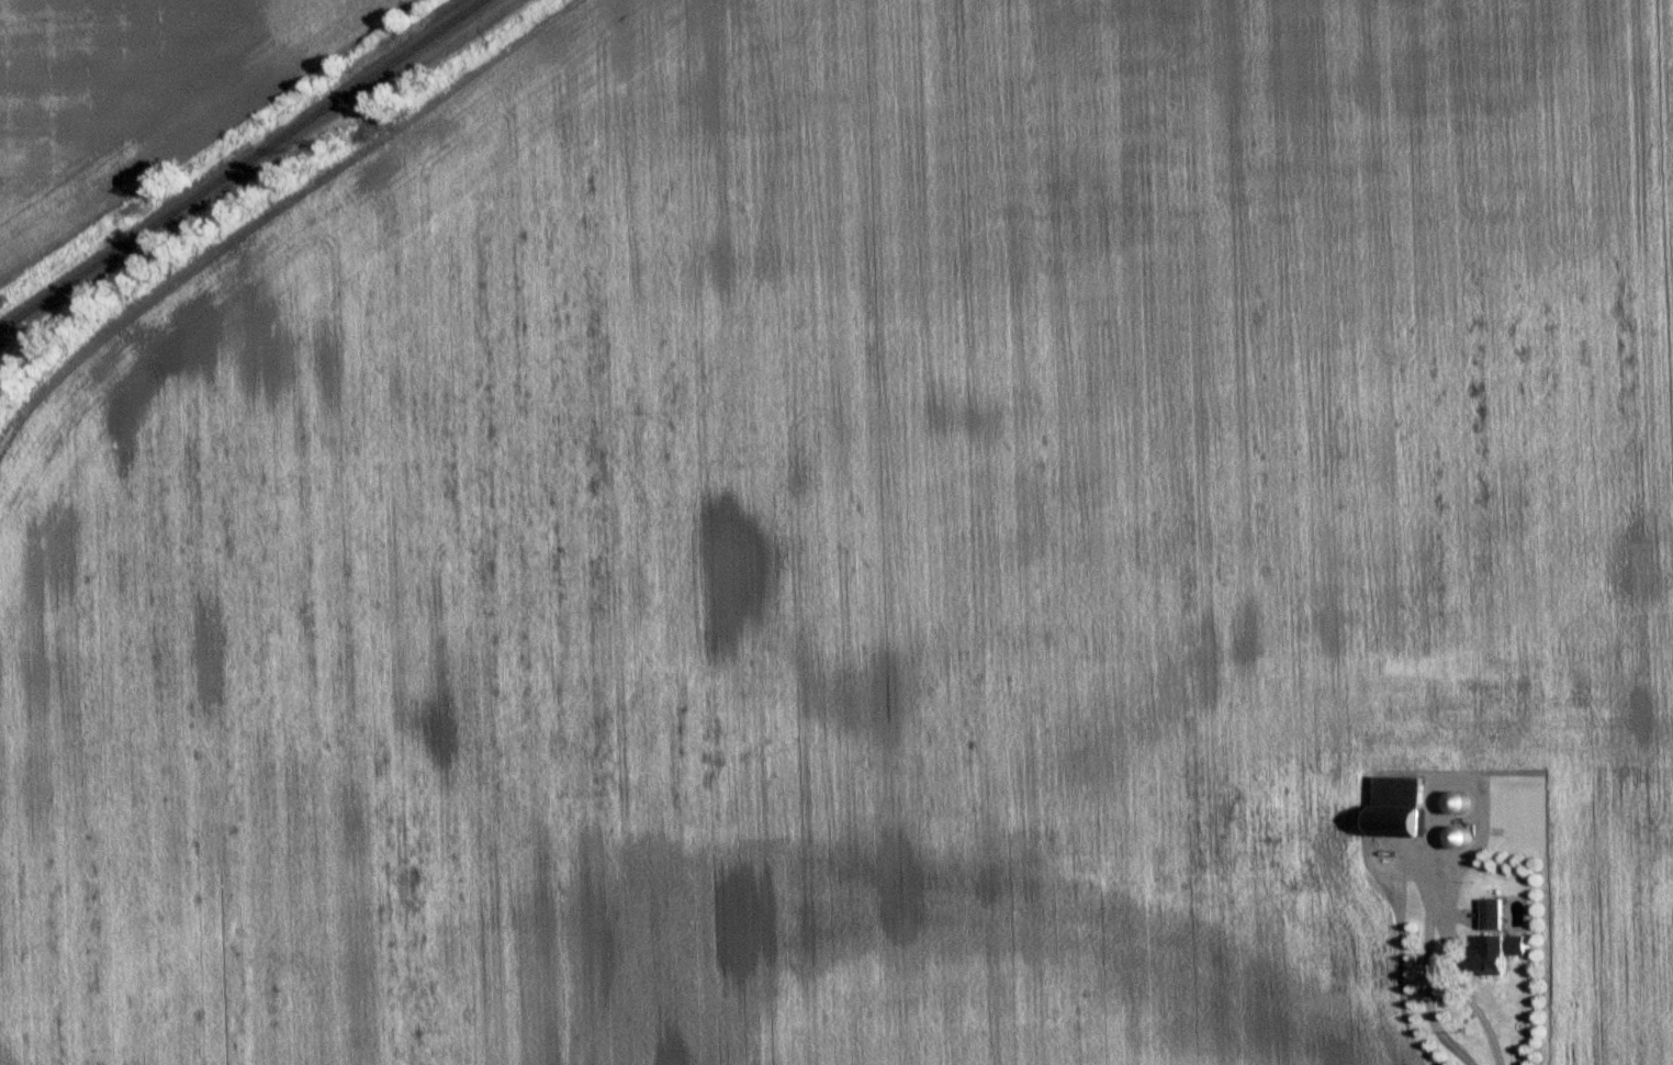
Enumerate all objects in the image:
railway: (240, 164)
road: (1457, 974)
road: (1425, 989)

